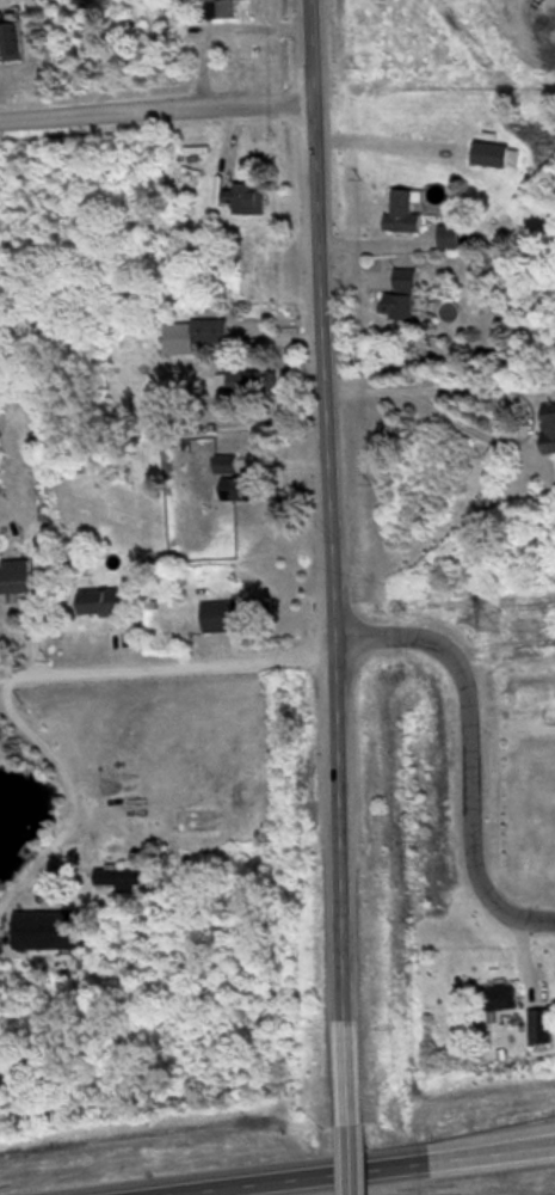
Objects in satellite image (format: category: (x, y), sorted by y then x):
building: (217, 7)
building: (10, 33)
road: (155, 112)
building: (488, 152)
building: (245, 196)
building: (402, 209)
building: (449, 234)
building: (403, 277)
building: (395, 305)
building: (191, 333)
building: (238, 380)
road: (438, 387)
building: (547, 431)
building: (230, 479)
road: (328, 568)
building: (13, 575)
building: (101, 600)
building: (221, 614)
power tower: (485, 619)
road: (383, 636)
road: (66, 772)
building: (116, 876)
building: (43, 929)
building: (498, 995)
building: (538, 1025)
road: (354, 1165)
road: (378, 1172)

